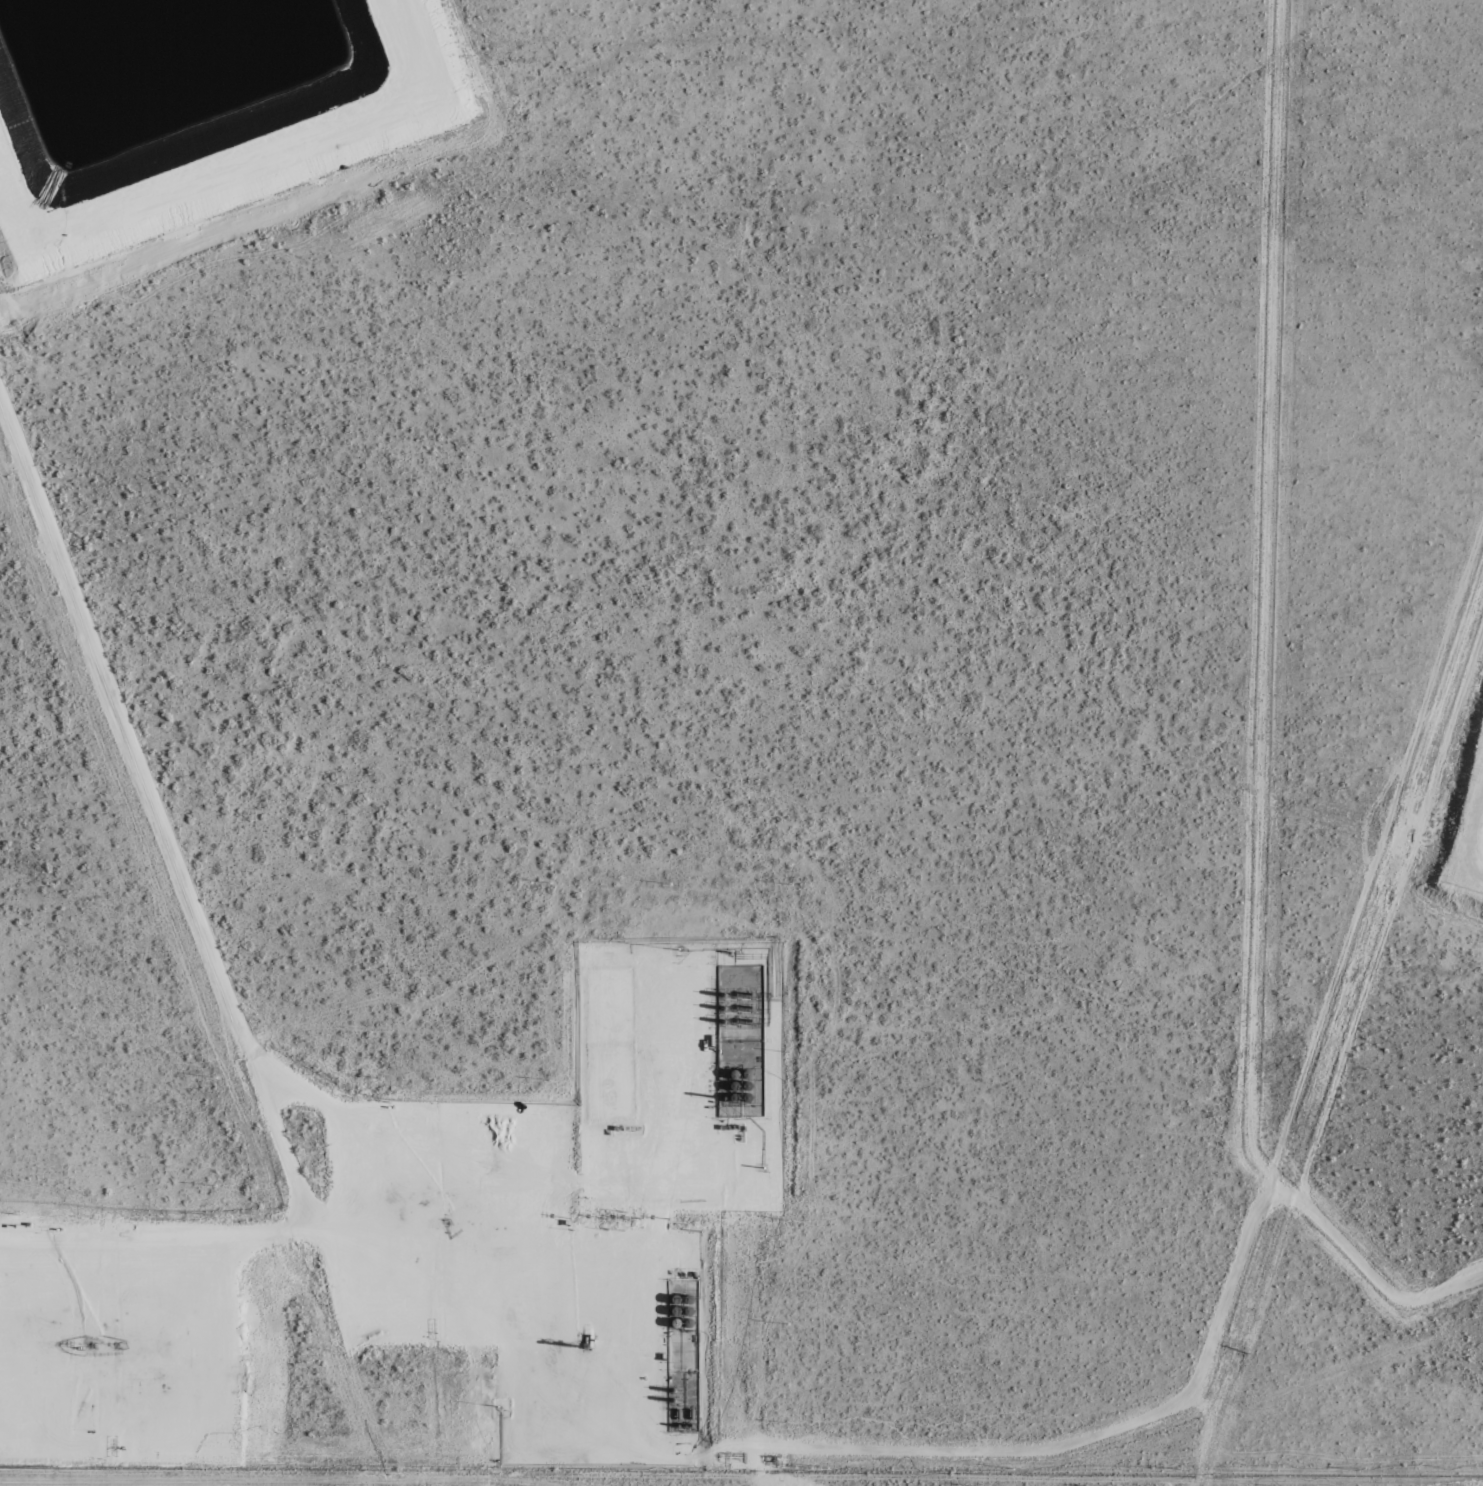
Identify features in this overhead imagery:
road: (258, 171)
road: (245, 1020)
petroleum well: (621, 1129)
road: (660, 1159)
petroleum well: (448, 1222)
petroleum well: (64, 1343)
petroleum well: (90, 1344)
petroleum well: (115, 1344)
petroleum well: (585, 1346)
road: (60, 1356)
road: (369, 1471)

